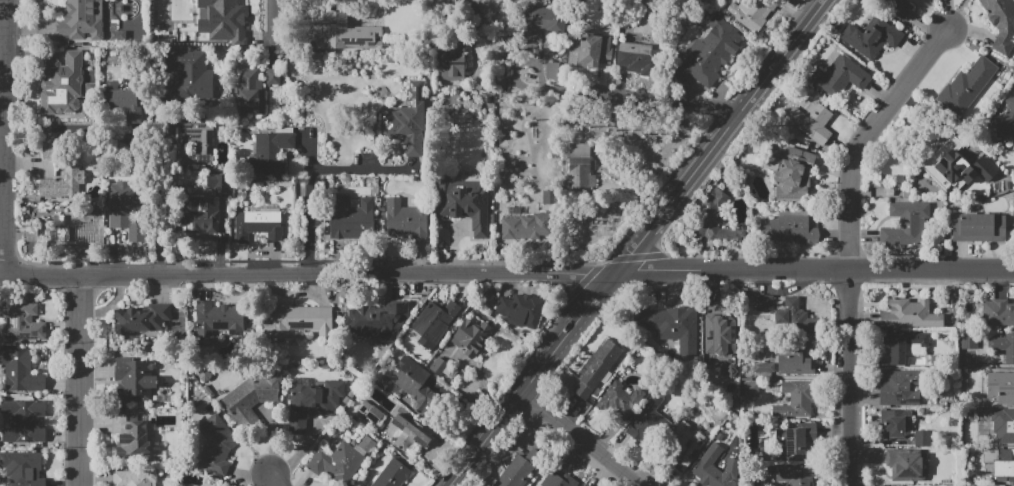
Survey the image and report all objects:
building: (897, 7)
building: (752, 13)
road: (957, 14)
building: (223, 15)
building: (81, 20)
building: (541, 22)
building: (1001, 23)
road: (274, 28)
building: (348, 32)
building: (871, 35)
road: (2, 50)
building: (589, 50)
building: (710, 53)
building: (634, 55)
building: (453, 63)
building: (551, 70)
building: (190, 75)
building: (271, 76)
building: (840, 76)
building: (61, 84)
building: (966, 86)
building: (250, 93)
road: (644, 96)
building: (124, 102)
building: (406, 117)
building: (1005, 120)
building: (812, 122)
road: (3, 135)
road: (865, 136)
building: (197, 138)
building: (270, 152)
building: (955, 166)
building: (579, 169)
road: (366, 170)
building: (794, 172)
building: (75, 173)
building: (217, 182)
building: (465, 203)
road: (311, 205)
building: (126, 209)
building: (202, 215)
building: (351, 216)
building: (405, 219)
building: (713, 221)
building: (906, 224)
building: (260, 225)
building: (526, 226)
building: (979, 227)
building: (788, 230)
building: (78, 232)
road: (158, 237)
road: (637, 243)
road: (507, 272)
building: (521, 309)
building: (998, 313)
building: (787, 314)
building: (910, 314)
building: (142, 318)
building: (220, 318)
building: (297, 321)
building: (375, 321)
building: (23, 323)
building: (434, 323)
building: (664, 330)
building: (718, 335)
building: (470, 337)
building: (968, 339)
building: (904, 345)
building: (1003, 346)
building: (797, 359)
building: (596, 367)
building: (21, 372)
road: (81, 378)
road: (849, 378)
building: (137, 381)
building: (414, 384)
building: (749, 388)
building: (900, 388)
building: (1001, 388)
building: (252, 399)
building: (619, 400)
building: (795, 401)
building: (312, 403)
building: (368, 413)
building: (648, 420)
building: (24, 421)
building: (894, 423)
building: (1007, 426)
building: (410, 434)
building: (132, 437)
building: (922, 437)
building: (796, 439)
road: (581, 440)
building: (216, 446)
building: (678, 449)
building: (342, 459)
building: (1000, 463)
building: (905, 465)
building: (22, 468)
building: (518, 469)
building: (393, 474)
building: (711, 474)
building: (793, 474)
building: (135, 478)
building: (559, 480)
road: (274, 481)
building: (587, 485)
building: (997, 485)

